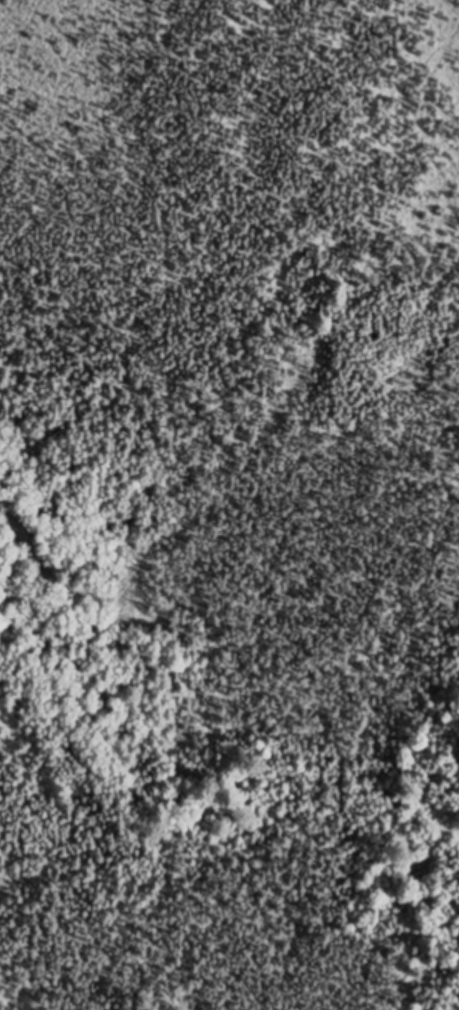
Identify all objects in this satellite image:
road: (235, 328)

